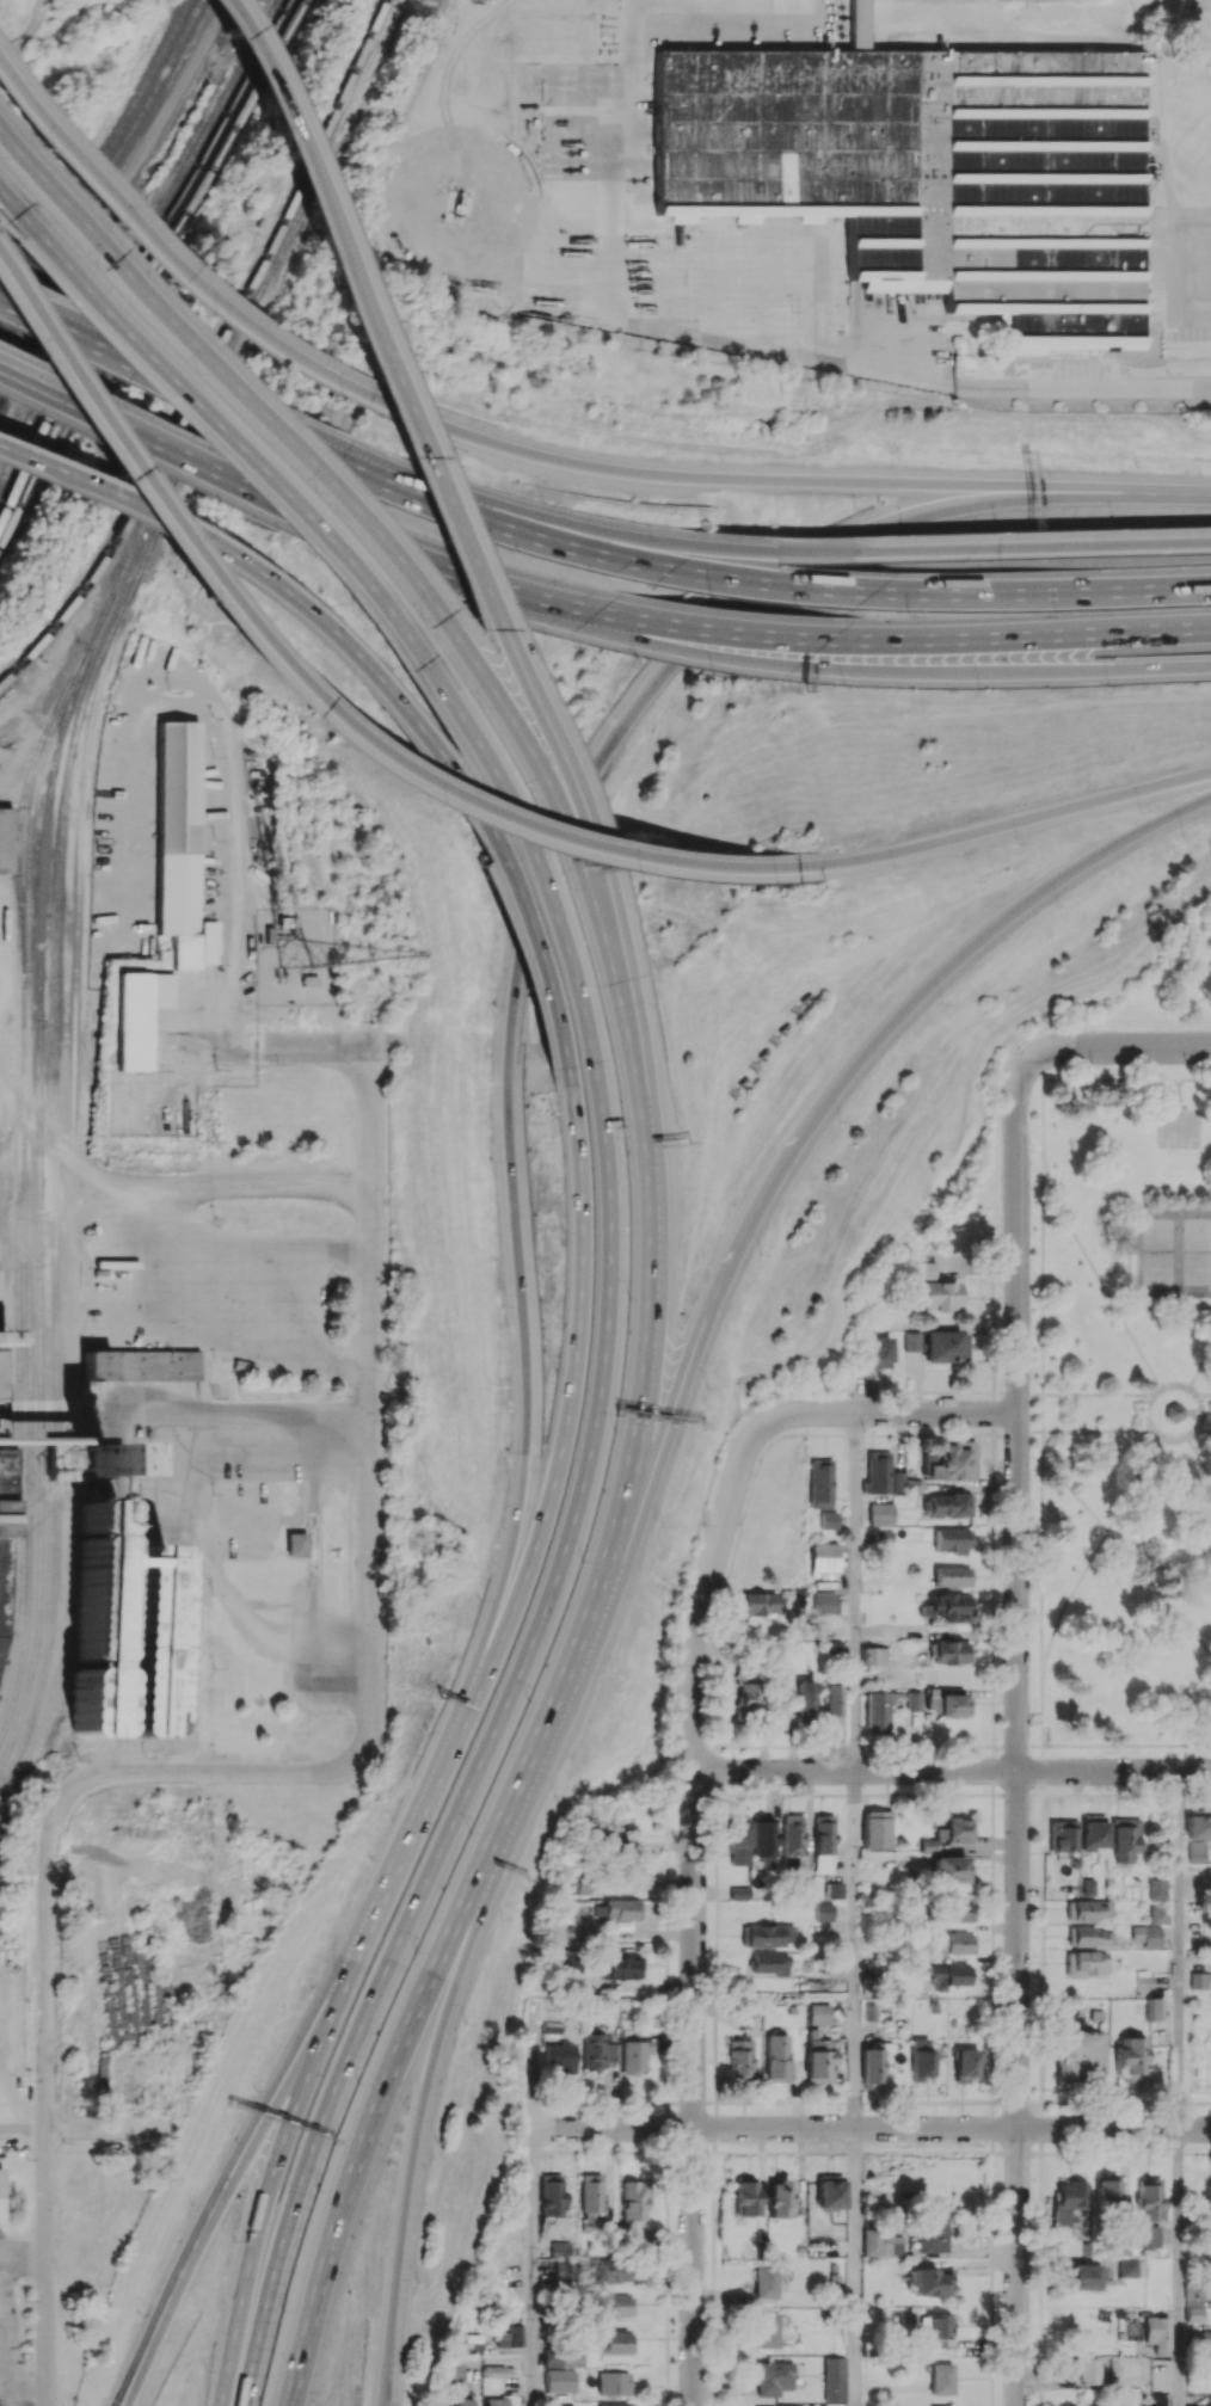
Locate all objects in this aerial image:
railway: (392, 19)
road: (268, 100)
railway: (343, 112)
railway: (316, 156)
railway: (97, 166)
building: (912, 166)
road: (24, 170)
railway: (104, 177)
building: (1119, 193)
road: (119, 199)
road: (11, 213)
building: (260, 223)
railway: (137, 242)
road: (159, 254)
railway: (148, 263)
railway: (154, 276)
railway: (275, 277)
road: (92, 303)
road: (209, 368)
road: (57, 373)
road: (182, 377)
road: (1043, 387)
road: (141, 431)
road: (234, 445)
street lamp: (823, 457)
street lamp: (983, 460)
street lamp: (1137, 463)
railway: (189, 478)
road: (781, 481)
street lamp: (859, 507)
railway: (137, 510)
road: (564, 519)
road: (346, 522)
road: (536, 529)
road: (457, 539)
road: (990, 550)
road: (401, 570)
road: (813, 589)
road: (1061, 590)
road: (534, 591)
road: (520, 596)
road: (380, 603)
street lamp: (1199, 607)
street lamp: (912, 616)
road: (750, 632)
road: (1025, 638)
road: (348, 654)
road: (724, 656)
road: (1013, 672)
street lamp: (844, 687)
street lamp: (1108, 687)
street lamp: (981, 691)
road: (508, 742)
road: (408, 783)
road: (1019, 819)
road: (512, 829)
street lamp: (1184, 835)
railway: (76, 836)
building: (5, 839)
street lamp: (1018, 844)
building: (180, 847)
railway: (30, 855)
street lamp: (896, 875)
railway: (57, 886)
street lamp: (1059, 905)
road: (1013, 907)
building: (288, 922)
road: (604, 929)
road: (600, 933)
building: (270, 935)
building: (309, 980)
street lamp: (942, 1004)
building: (137, 1016)
road: (510, 1045)
road: (268, 1047)
road: (1120, 1047)
road: (1075, 1079)
road: (1194, 1079)
road: (1178, 1094)
street lamp: (843, 1124)
park: (1179, 1130)
road: (68, 1151)
railway: (39, 1179)
road: (767, 1187)
road: (230, 1188)
railway: (20, 1192)
road: (1075, 1232)
park: (1173, 1251)
street lamp: (761, 1254)
road: (281, 1256)
building: (927, 1269)
road: (1043, 1274)
road: (1130, 1276)
building: (940, 1296)
road: (1123, 1309)
road: (1170, 1309)
road: (265, 1335)
building: (914, 1341)
road: (647, 1343)
building: (946, 1346)
road: (1138, 1348)
building: (879, 1352)
building: (244, 1364)
building: (141, 1365)
road: (573, 1366)
road: (1199, 1366)
road: (600, 1378)
street lamp: (707, 1389)
road: (1031, 1395)
road: (1204, 1395)
road: (1096, 1396)
road: (234, 1407)
road: (371, 1407)
road: (1, 1408)
railway: (56, 1409)
road: (1148, 1410)
building: (1174, 1410)
road: (1203, 1411)
road: (226, 1413)
road: (935, 1413)
park: (1126, 1413)
road: (1043, 1414)
road: (1203, 1429)
road: (1031, 1432)
road: (1099, 1432)
road: (1043, 1442)
road: (1199, 1456)
building: (949, 1462)
building: (877, 1472)
building: (819, 1483)
building: (903, 1483)
road: (1133, 1483)
road: (1074, 1493)
building: (949, 1504)
road: (639, 1509)
building: (880, 1514)
building: (829, 1520)
building: (884, 1537)
building: (951, 1540)
building: (296, 1543)
building: (4, 1556)
building: (824, 1557)
road: (314, 1562)
road: (1043, 1564)
building: (952, 1576)
road: (854, 1590)
road: (1160, 1593)
building: (824, 1602)
building: (758, 1604)
building: (948, 1607)
building: (142, 1618)
road: (1052, 1632)
building: (834, 1649)
building: (949, 1651)
building: (873, 1655)
railway: (67, 1656)
building: (744, 1697)
building: (806, 1699)
building: (914, 1700)
building: (777, 1705)
building: (949, 1705)
building: (878, 1711)
road: (1018, 1730)
road: (1029, 1746)
road: (1126, 1746)
road: (1043, 1758)
road: (951, 1770)
road: (216, 1772)
road: (521, 1779)
building: (1198, 1827)
building: (877, 1829)
building: (947, 1832)
building: (1093, 1834)
building: (615, 1835)
building: (739, 1835)
building: (1062, 1835)
building: (764, 1838)
building: (1125, 1839)
building: (792, 1840)
building: (824, 1844)
building: (1197, 1851)
road: (693, 1864)
building: (948, 1869)
building: (574, 1885)
building: (835, 1889)
building: (1156, 1889)
building: (806, 1890)
building: (617, 1908)
building: (1089, 1909)
building: (824, 1912)
building: (958, 1912)
building: (1158, 1914)
building: (1147, 1934)
building: (768, 1936)
building: (1089, 1937)
building: (959, 1943)
building: (938, 1946)
road: (855, 1949)
road: (1178, 1950)
building: (572, 1962)
building: (769, 1963)
building: (1086, 1963)
building: (621, 1967)
building: (951, 1976)
building: (1200, 1980)
road: (619, 1989)
building: (1155, 2008)
building: (818, 2013)
building: (551, 2026)
building: (596, 2050)
building: (1080, 2054)
building: (634, 2056)
building: (560, 2057)
building: (740, 2057)
building: (776, 2057)
building: (818, 2057)
building: (1131, 2057)
building: (921, 2059)
building: (966, 2065)
building: (872, 2066)
road: (527, 2070)
road: (338, 2086)
road: (48, 2093)
road: (105, 2128)
road: (869, 2128)
road: (369, 2131)
road: (418, 2134)
building: (829, 2191)
building: (1106, 2192)
building: (552, 2195)
building: (590, 2195)
building: (746, 2196)
building: (0, 2197)
building: (777, 2198)
building: (1150, 2198)
building: (1207, 2198)
building: (632, 2199)
road: (213, 2204)
building: (1069, 2204)
road: (263, 2207)
building: (930, 2230)
building: (1145, 2236)
building: (881, 2244)
building: (559, 2248)
road: (4, 2252)
road: (27, 2253)
road: (528, 2267)
road: (854, 2267)
building: (1131, 2267)
road: (1179, 2267)
building: (611, 2270)
building: (1081, 2276)
building: (930, 2281)
building: (766, 2282)
building: (1193, 2300)
building: (613, 2306)
road: (8, 2330)
building: (767, 2330)
building: (936, 2330)
building: (1157, 2333)
building: (510, 2334)
building: (616, 2343)
building: (1203, 2343)
building: (472, 2344)
building: (563, 2358)
building: (1084, 2370)
building: (494, 2371)
building: (453, 2373)
building: (773, 2377)
building: (834, 2379)
building: (941, 2379)
building: (558, 2380)
building: (613, 2382)
road: (26, 2394)
building: (1209, 2400)
building: (461, 2401)
building: (496, 2401)
building: (615, 2404)

